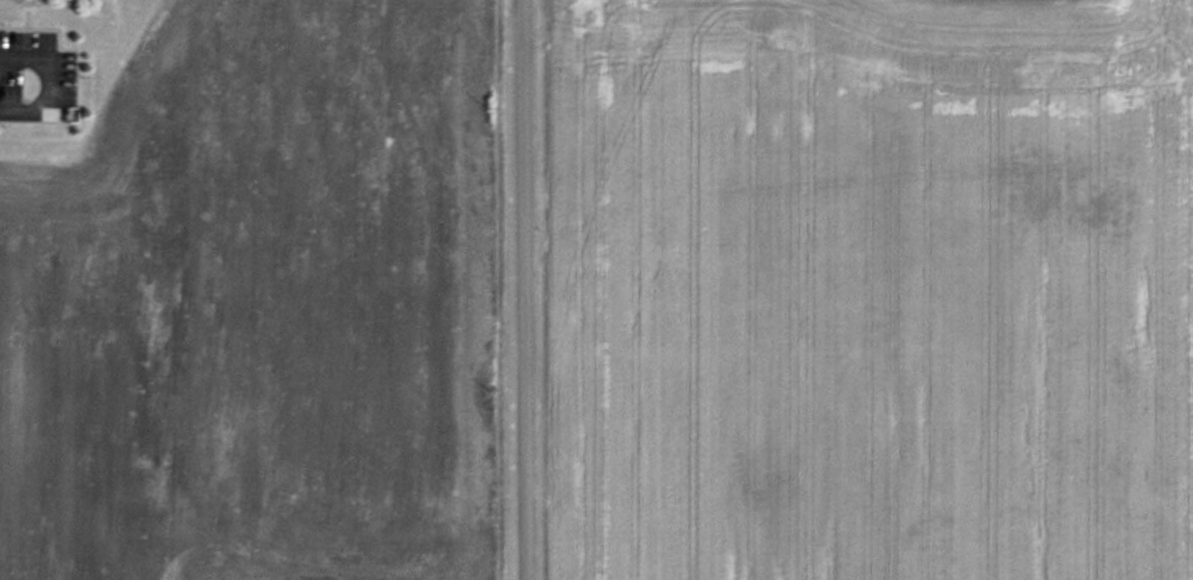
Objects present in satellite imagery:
parking lot: (36, 78)
road: (49, 86)
road: (519, 290)
crop: (869, 291)
crop: (259, 305)

